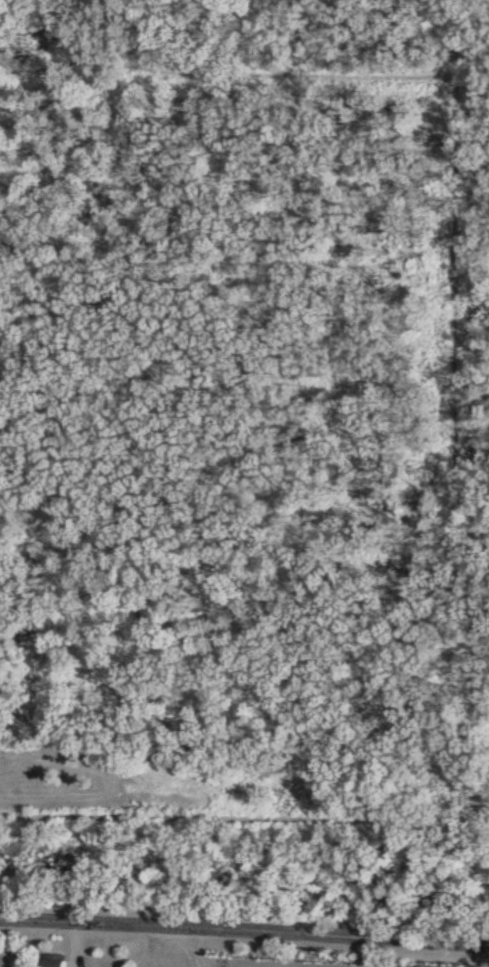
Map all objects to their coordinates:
road: (244, 927)
road: (80, 944)
road: (194, 945)
road: (153, 947)
building: (60, 961)

